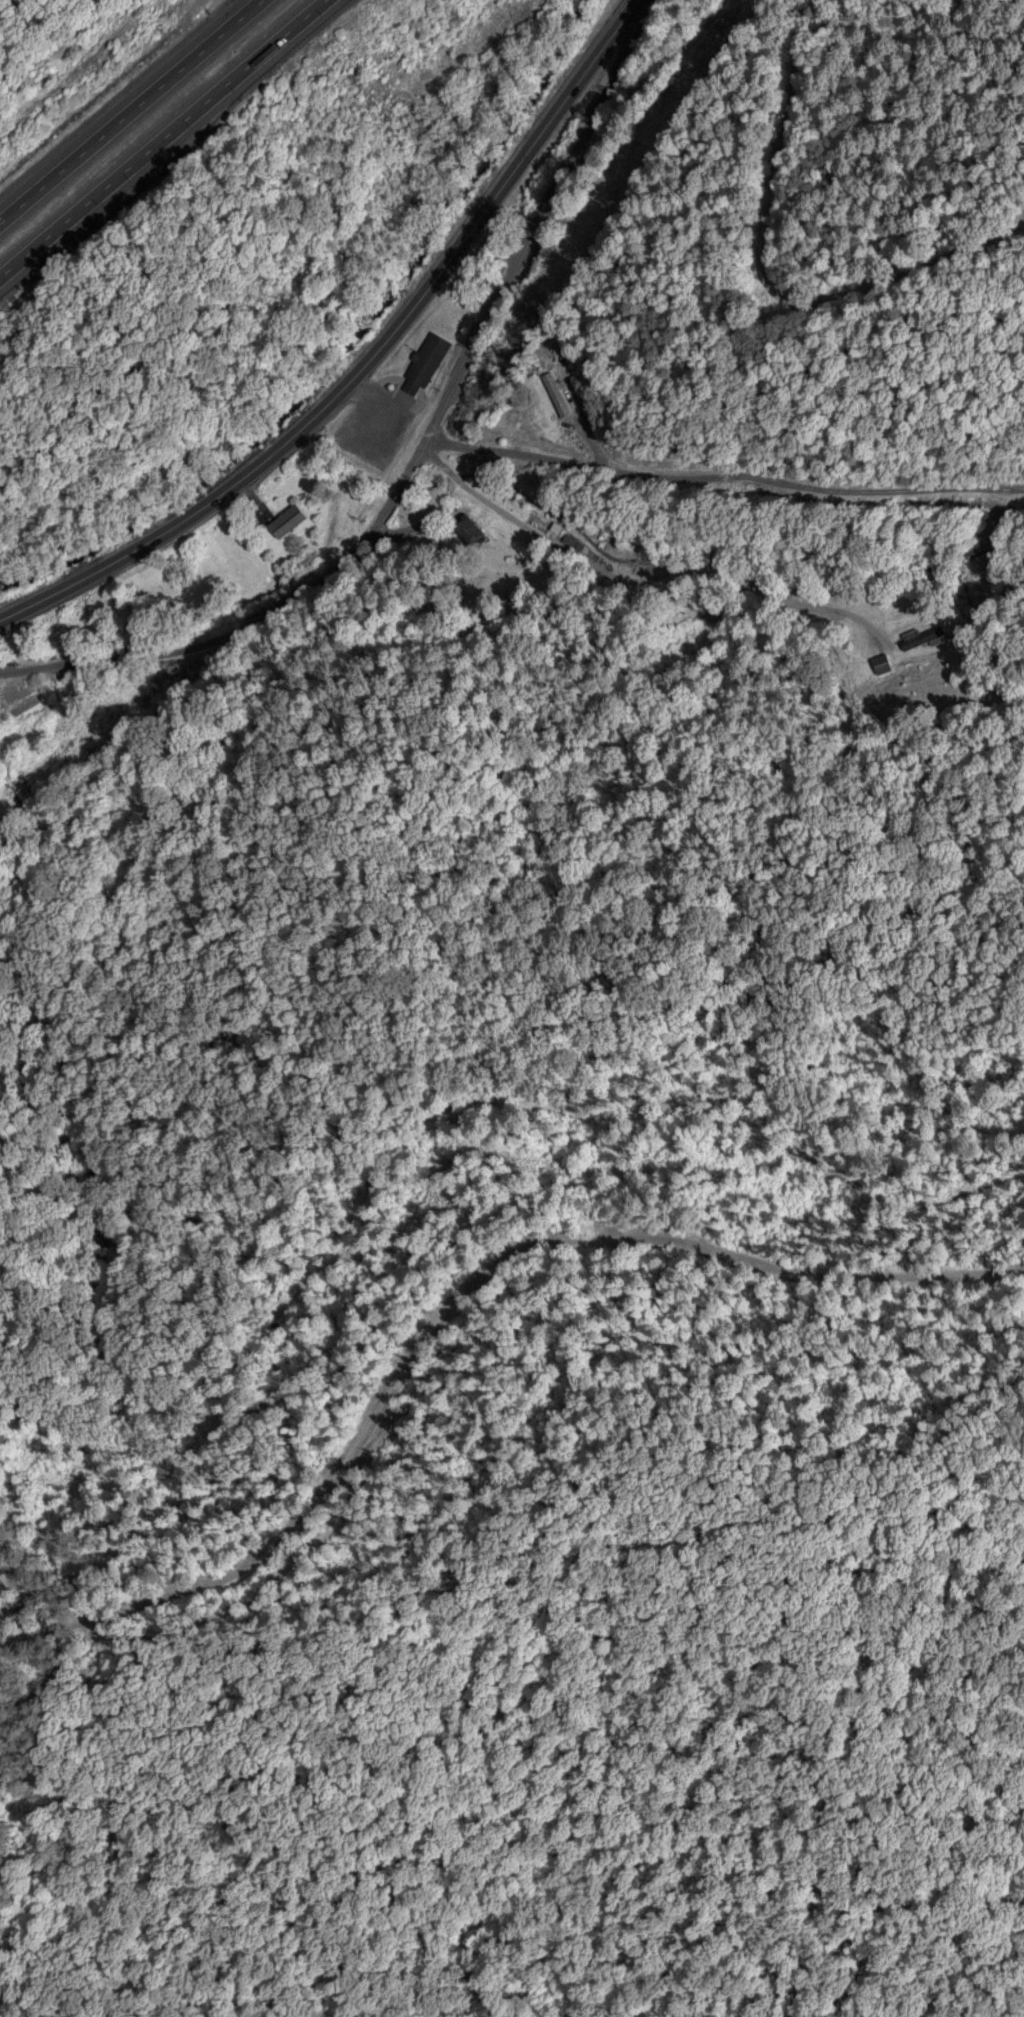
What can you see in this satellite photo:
road: (127, 108)
road: (161, 137)
road: (367, 361)
building: (423, 363)
road: (415, 454)
road: (597, 474)
building: (285, 519)
road: (448, 1301)

